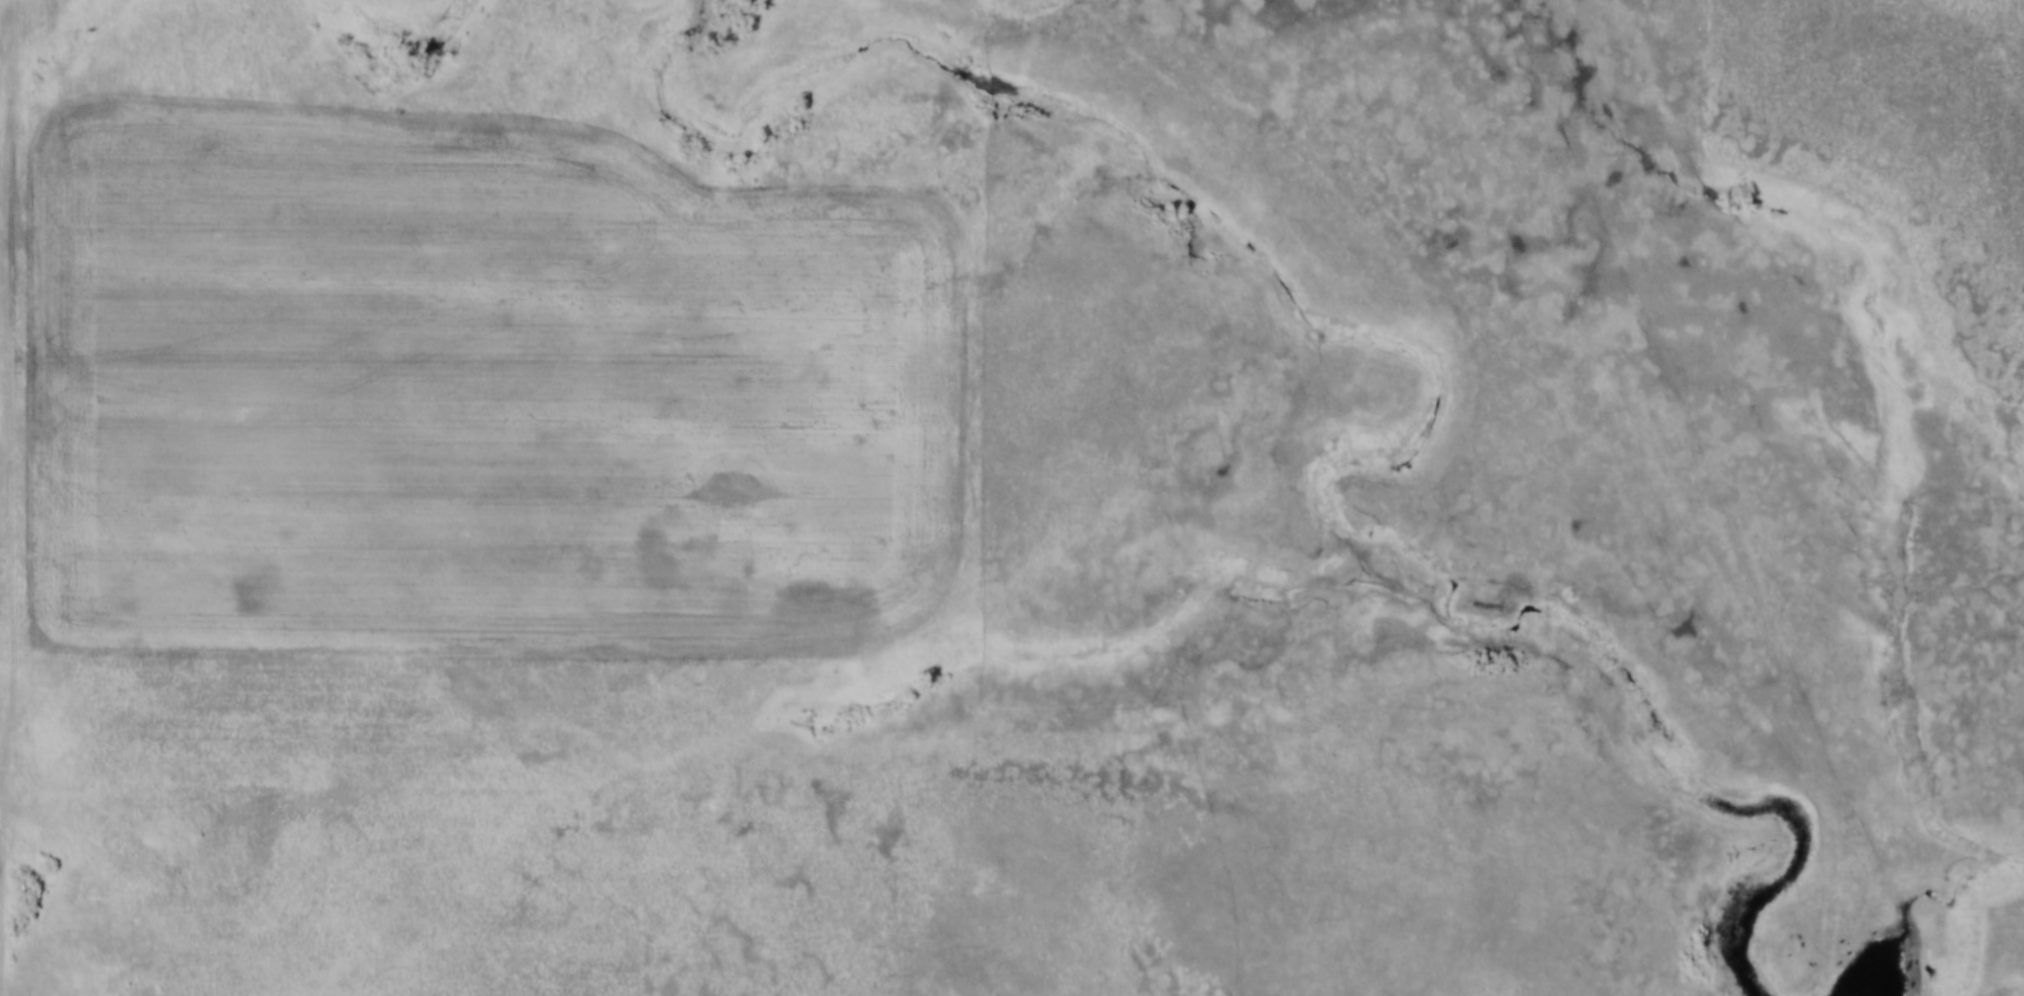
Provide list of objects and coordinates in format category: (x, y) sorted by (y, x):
road: (7, 497)
road: (2, 733)

